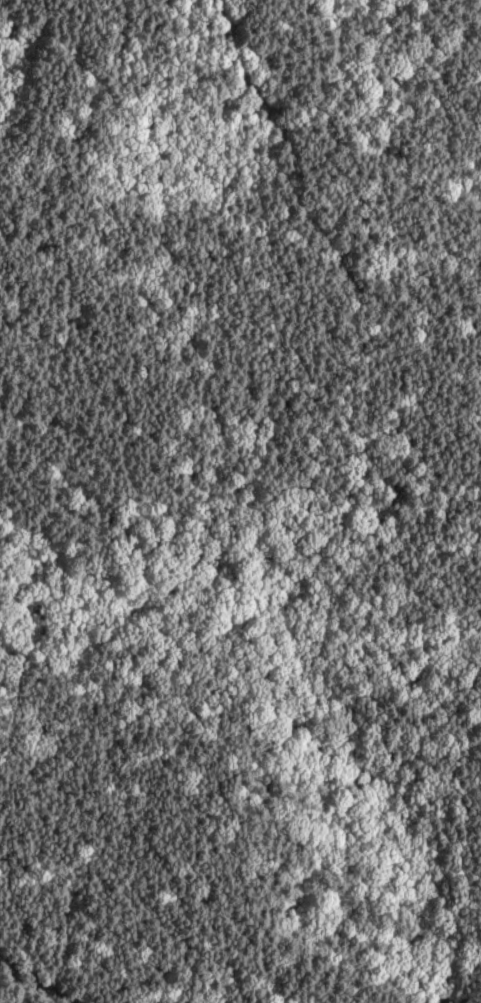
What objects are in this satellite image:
road: (6, 999)

